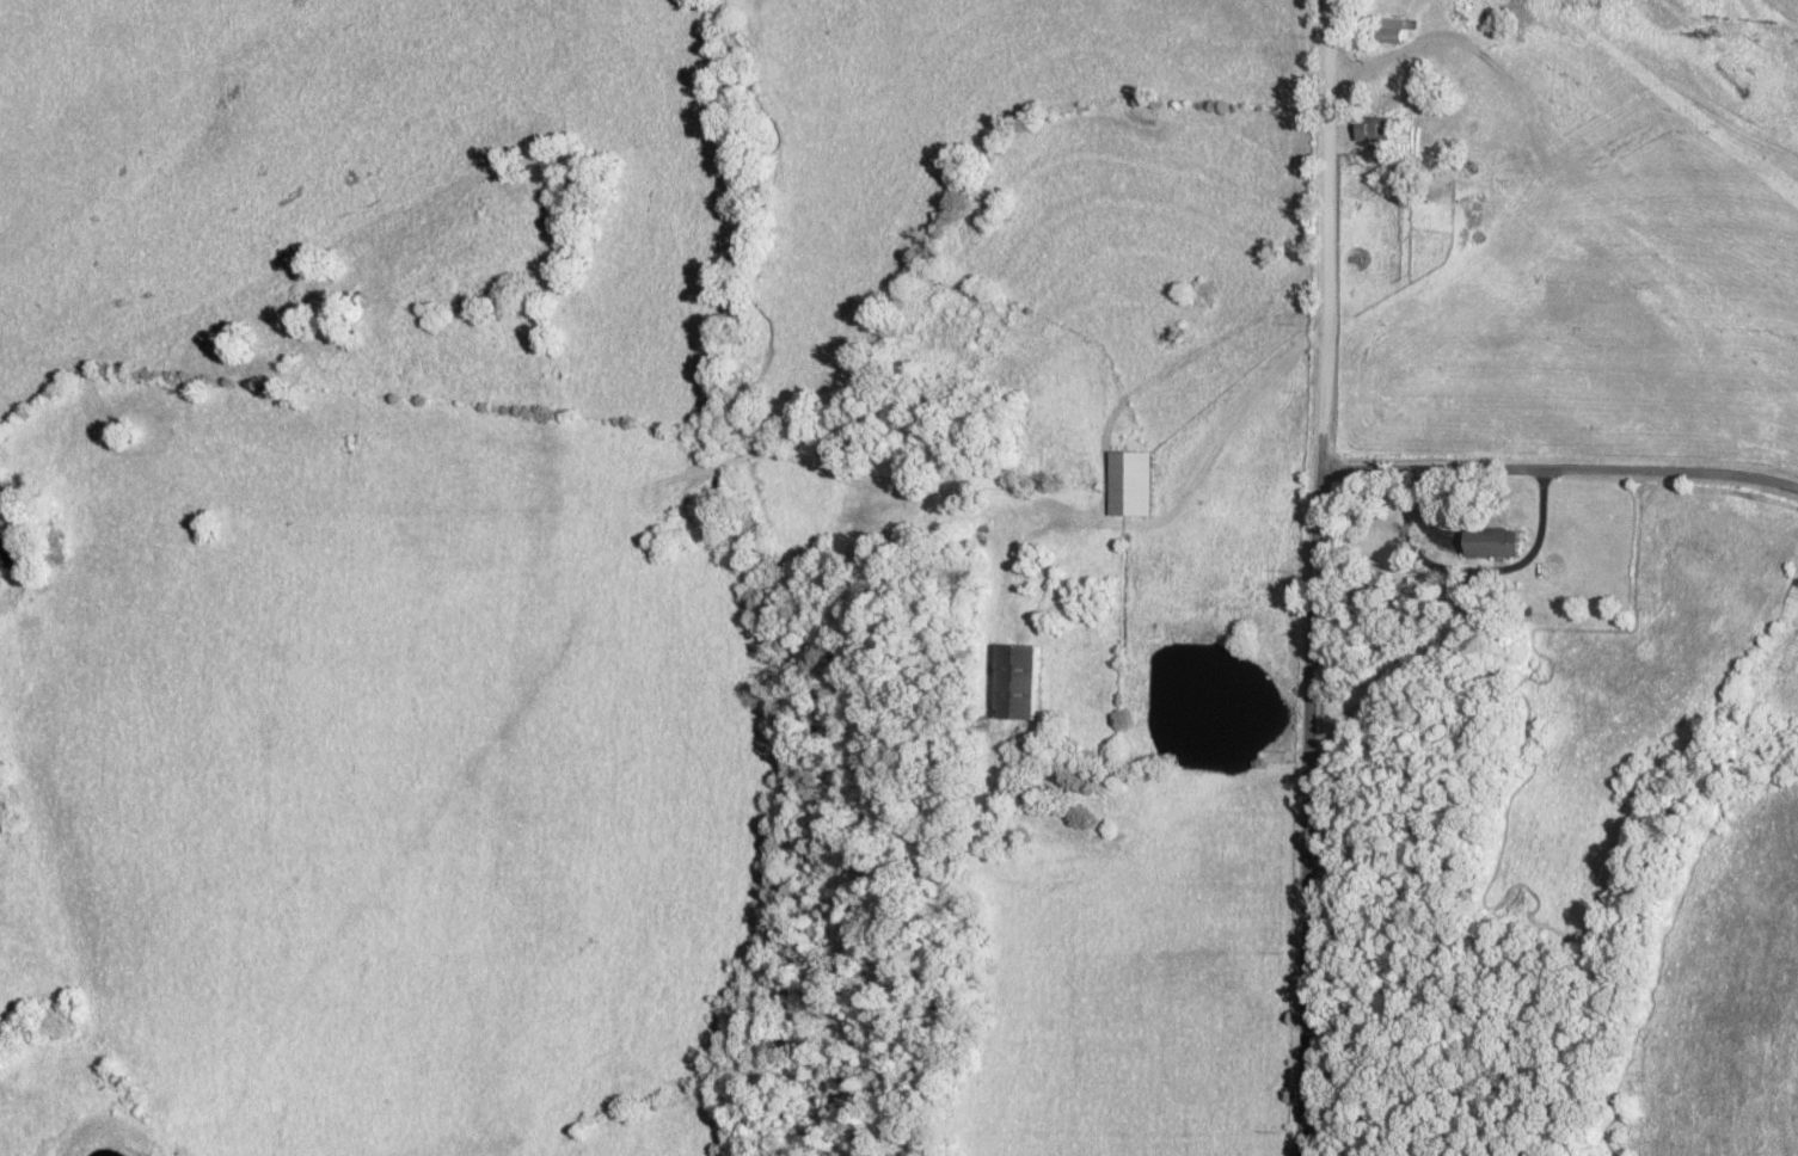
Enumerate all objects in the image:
building: (1369, 131)
road: (1559, 463)
building: (1124, 482)
road: (1546, 525)
building: (1486, 542)
road: (1314, 577)
building: (1467, 599)
building: (1010, 681)

